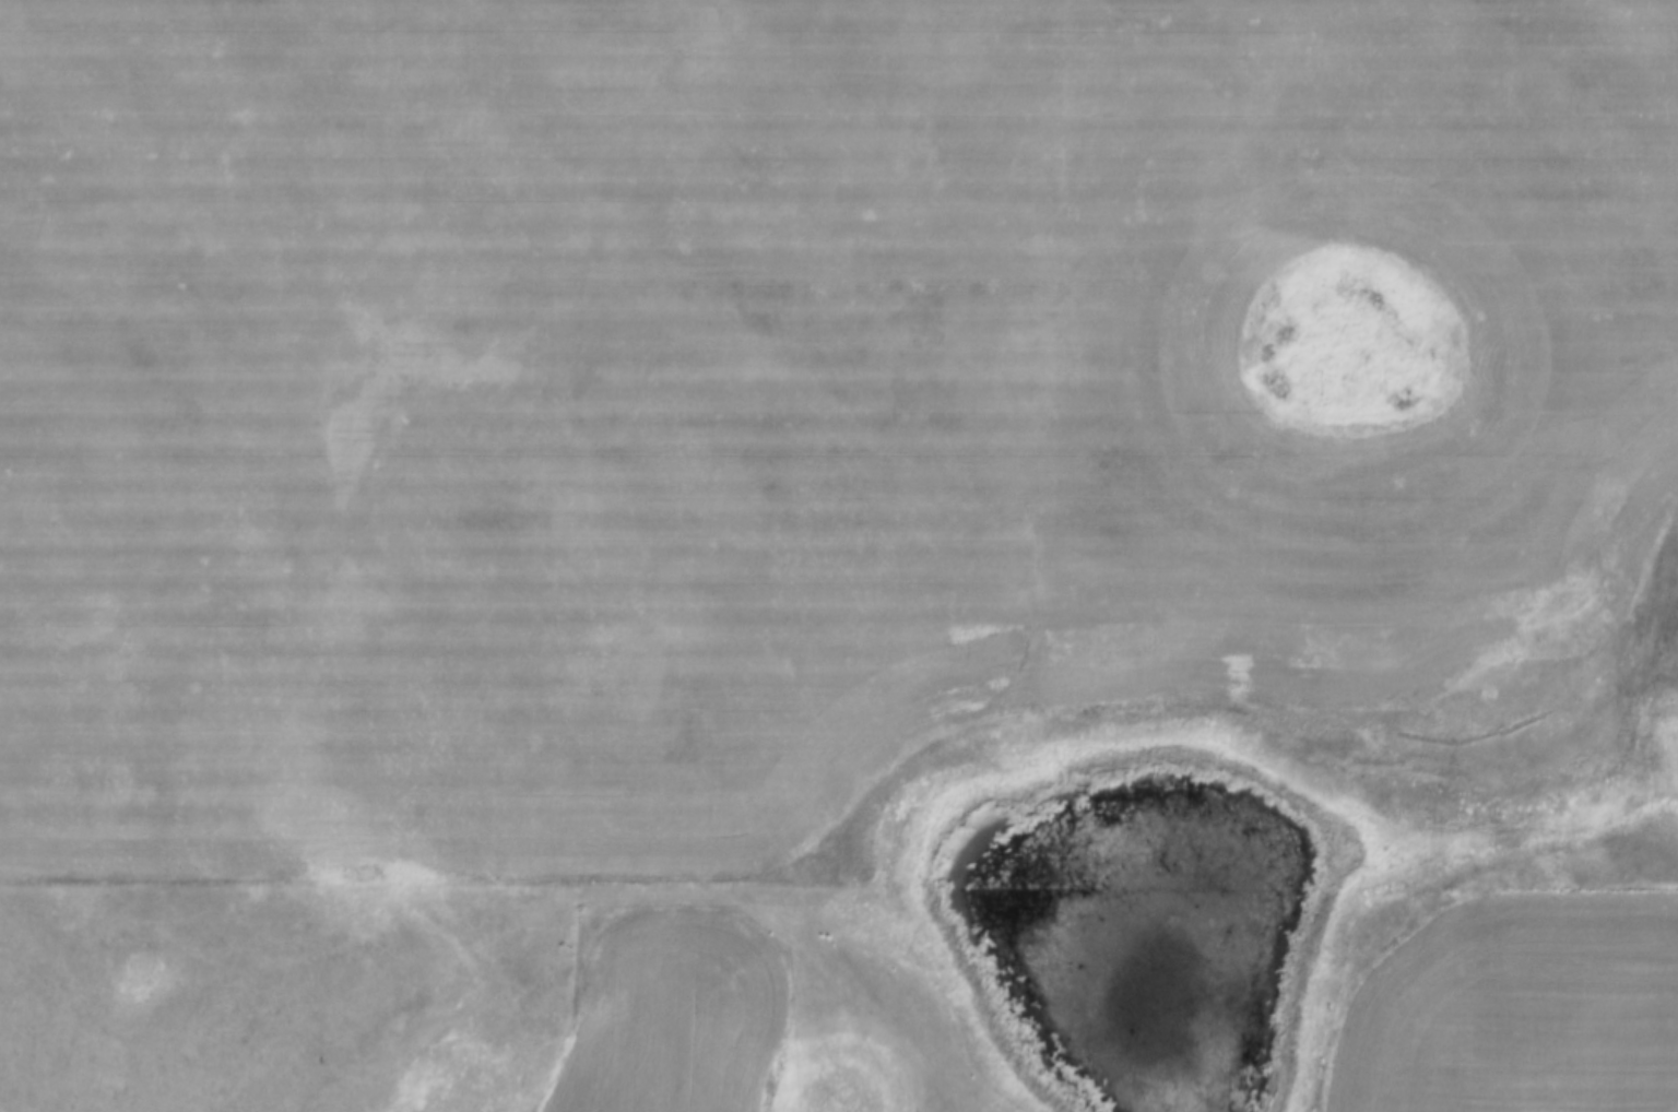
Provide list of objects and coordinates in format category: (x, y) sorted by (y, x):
road: (628, 895)

